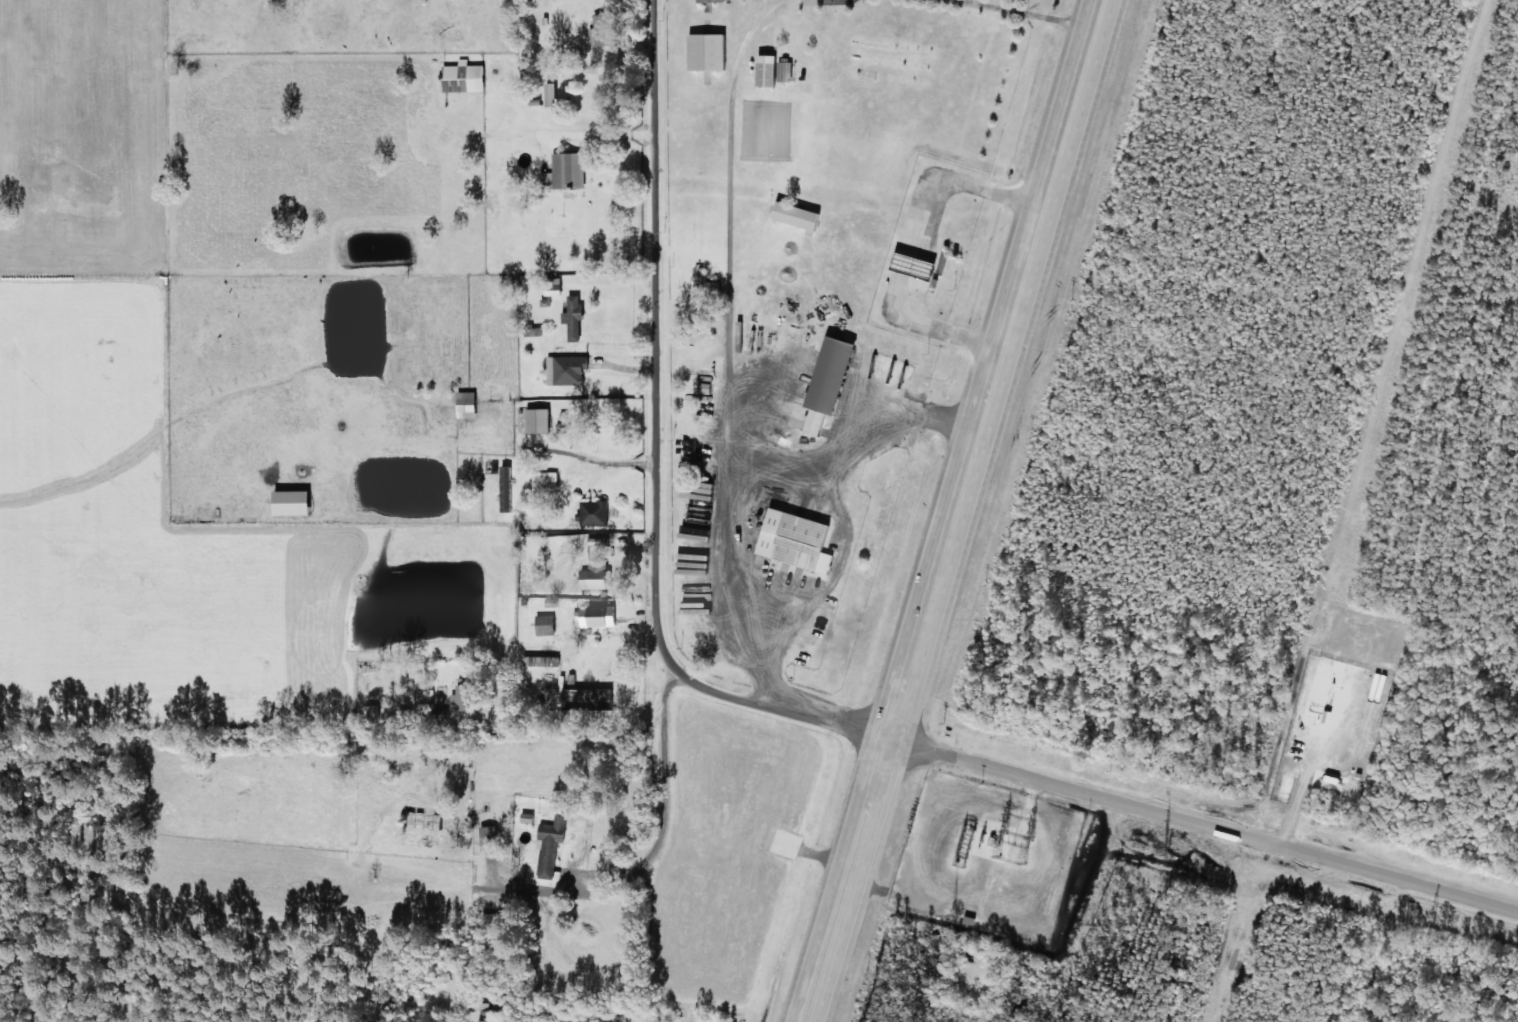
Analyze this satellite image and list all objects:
building: (706, 0)
building: (703, 51)
building: (762, 69)
building: (783, 71)
building: (462, 76)
building: (547, 94)
building: (563, 171)
building: (794, 215)
building: (696, 274)
building: (550, 290)
building: (573, 317)
building: (564, 370)
building: (824, 382)
building: (463, 404)
building: (535, 420)
road: (658, 455)
building: (537, 481)
building: (287, 502)
road: (954, 511)
building: (591, 512)
building: (792, 540)
building: (597, 541)
building: (594, 576)
building: (595, 616)
building: (543, 625)
building: (584, 699)
road: (666, 811)
building: (525, 817)
road: (1204, 825)
building: (485, 834)
building: (464, 839)
building: (549, 848)
power substation: (984, 859)
road: (1382, 951)
building: (494, 1019)

